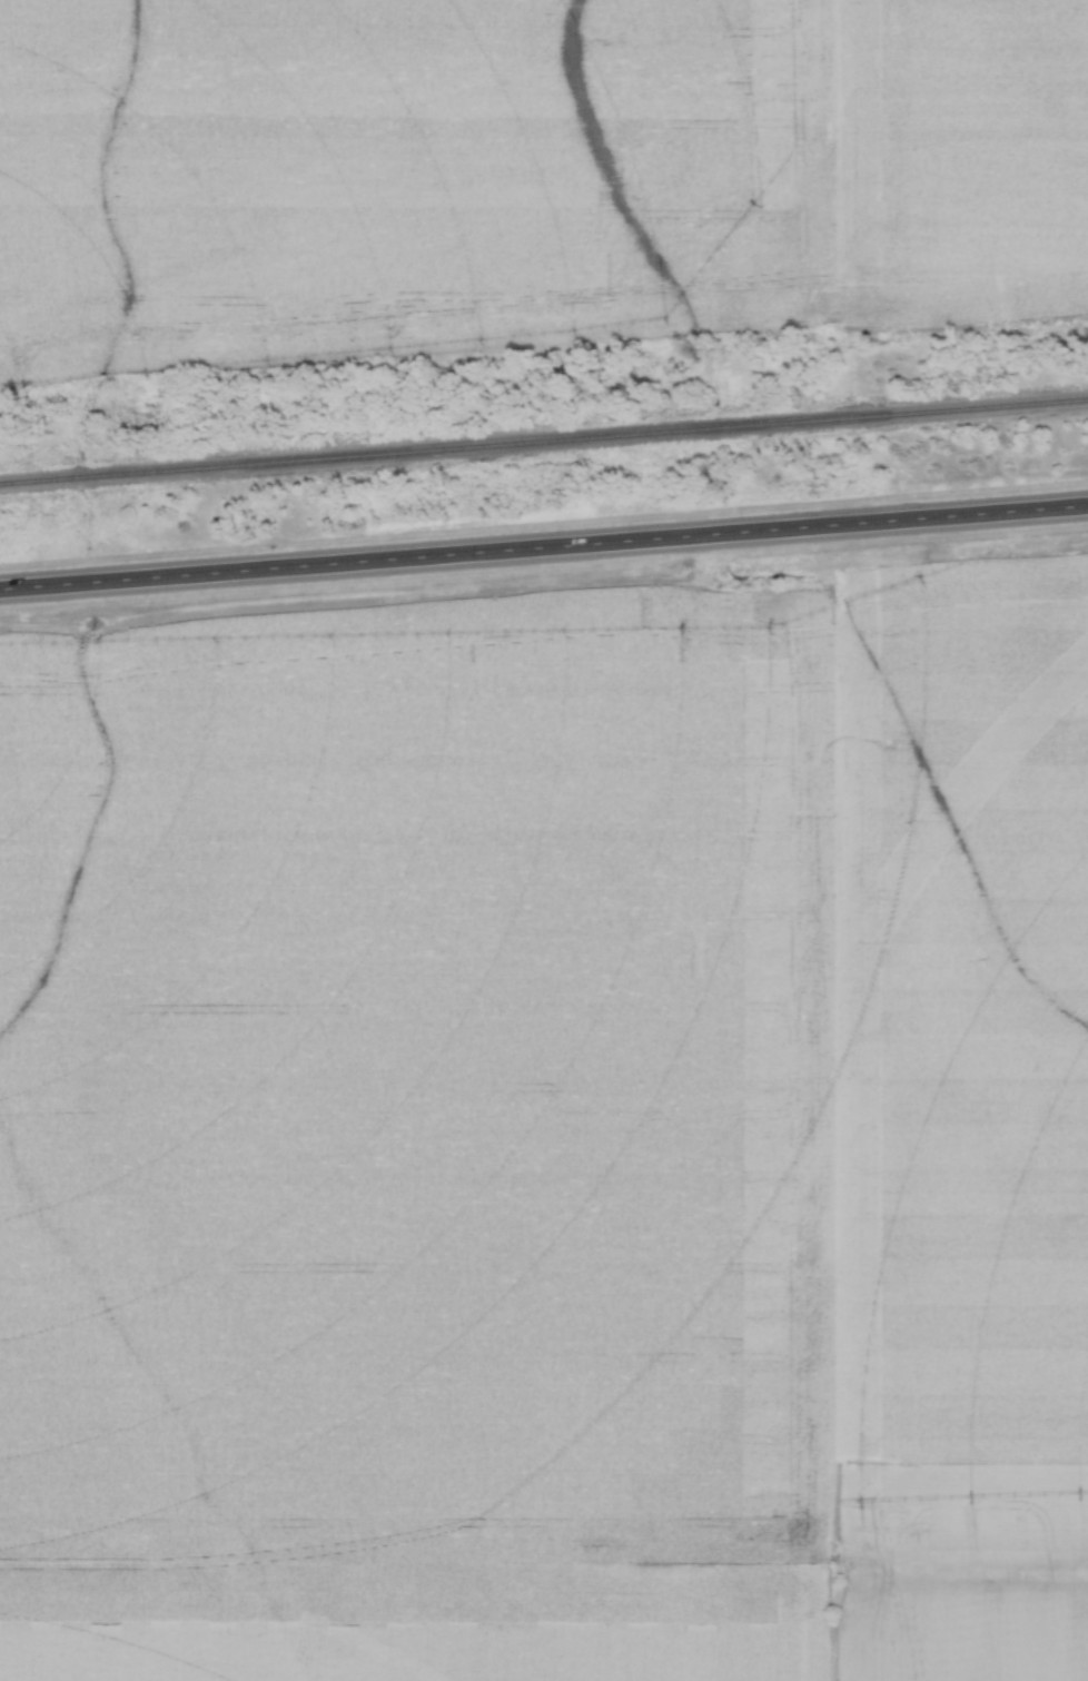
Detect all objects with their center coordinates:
railway: (543, 458)
road: (543, 548)

